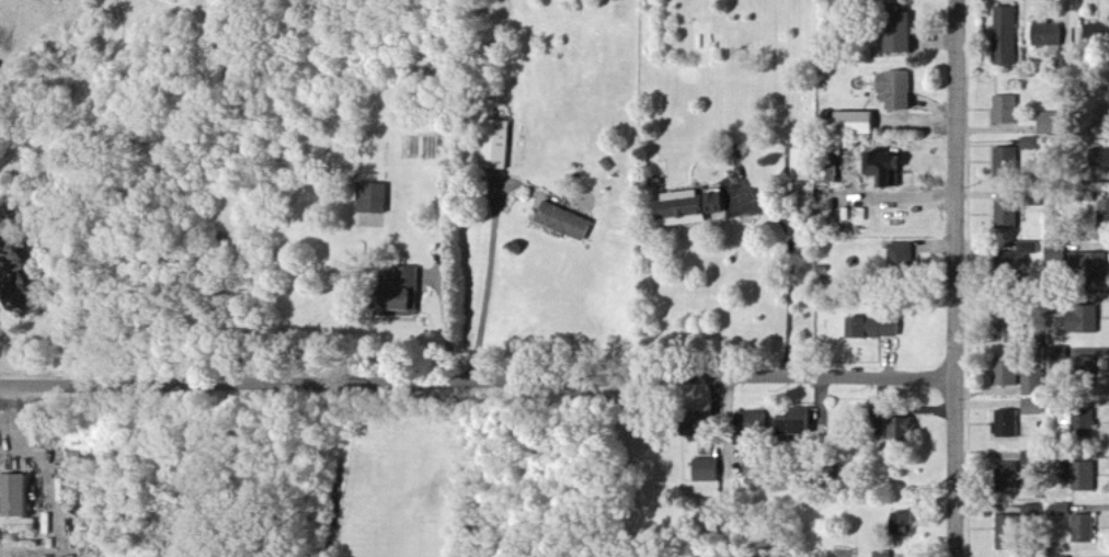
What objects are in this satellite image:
building: (1045, 31)
road: (7, 34)
building: (1005, 34)
building: (905, 38)
building: (1097, 38)
building: (1064, 58)
building: (901, 91)
building: (1006, 107)
building: (1048, 122)
building: (860, 124)
building: (1028, 141)
building: (499, 146)
building: (1099, 154)
building: (1005, 160)
building: (805, 167)
building: (893, 170)
building: (1083, 194)
building: (1031, 196)
building: (378, 200)
building: (694, 208)
building: (1005, 213)
building: (1102, 213)
building: (567, 223)
building: (1061, 253)
building: (1015, 257)
building: (905, 259)
building: (1089, 263)
road: (791, 270)
road: (961, 278)
road: (484, 287)
building: (1059, 297)
building: (1082, 319)
building: (1008, 321)
building: (878, 329)
building: (1083, 371)
road: (480, 376)
building: (1005, 380)
building: (1060, 405)
building: (1031, 408)
building: (755, 422)
building: (1005, 422)
building: (1082, 422)
building: (801, 423)
building: (906, 431)
building: (1030, 434)
building: (1060, 456)
building: (1026, 459)
building: (1036, 461)
building: (758, 470)
building: (711, 471)
building: (1083, 474)
building: (1005, 475)
building: (20, 497)
building: (1059, 509)
building: (1032, 512)
building: (1066, 512)
building: (908, 524)
building: (1083, 526)
building: (1006, 531)
building: (884, 555)
building: (1060, 556)

